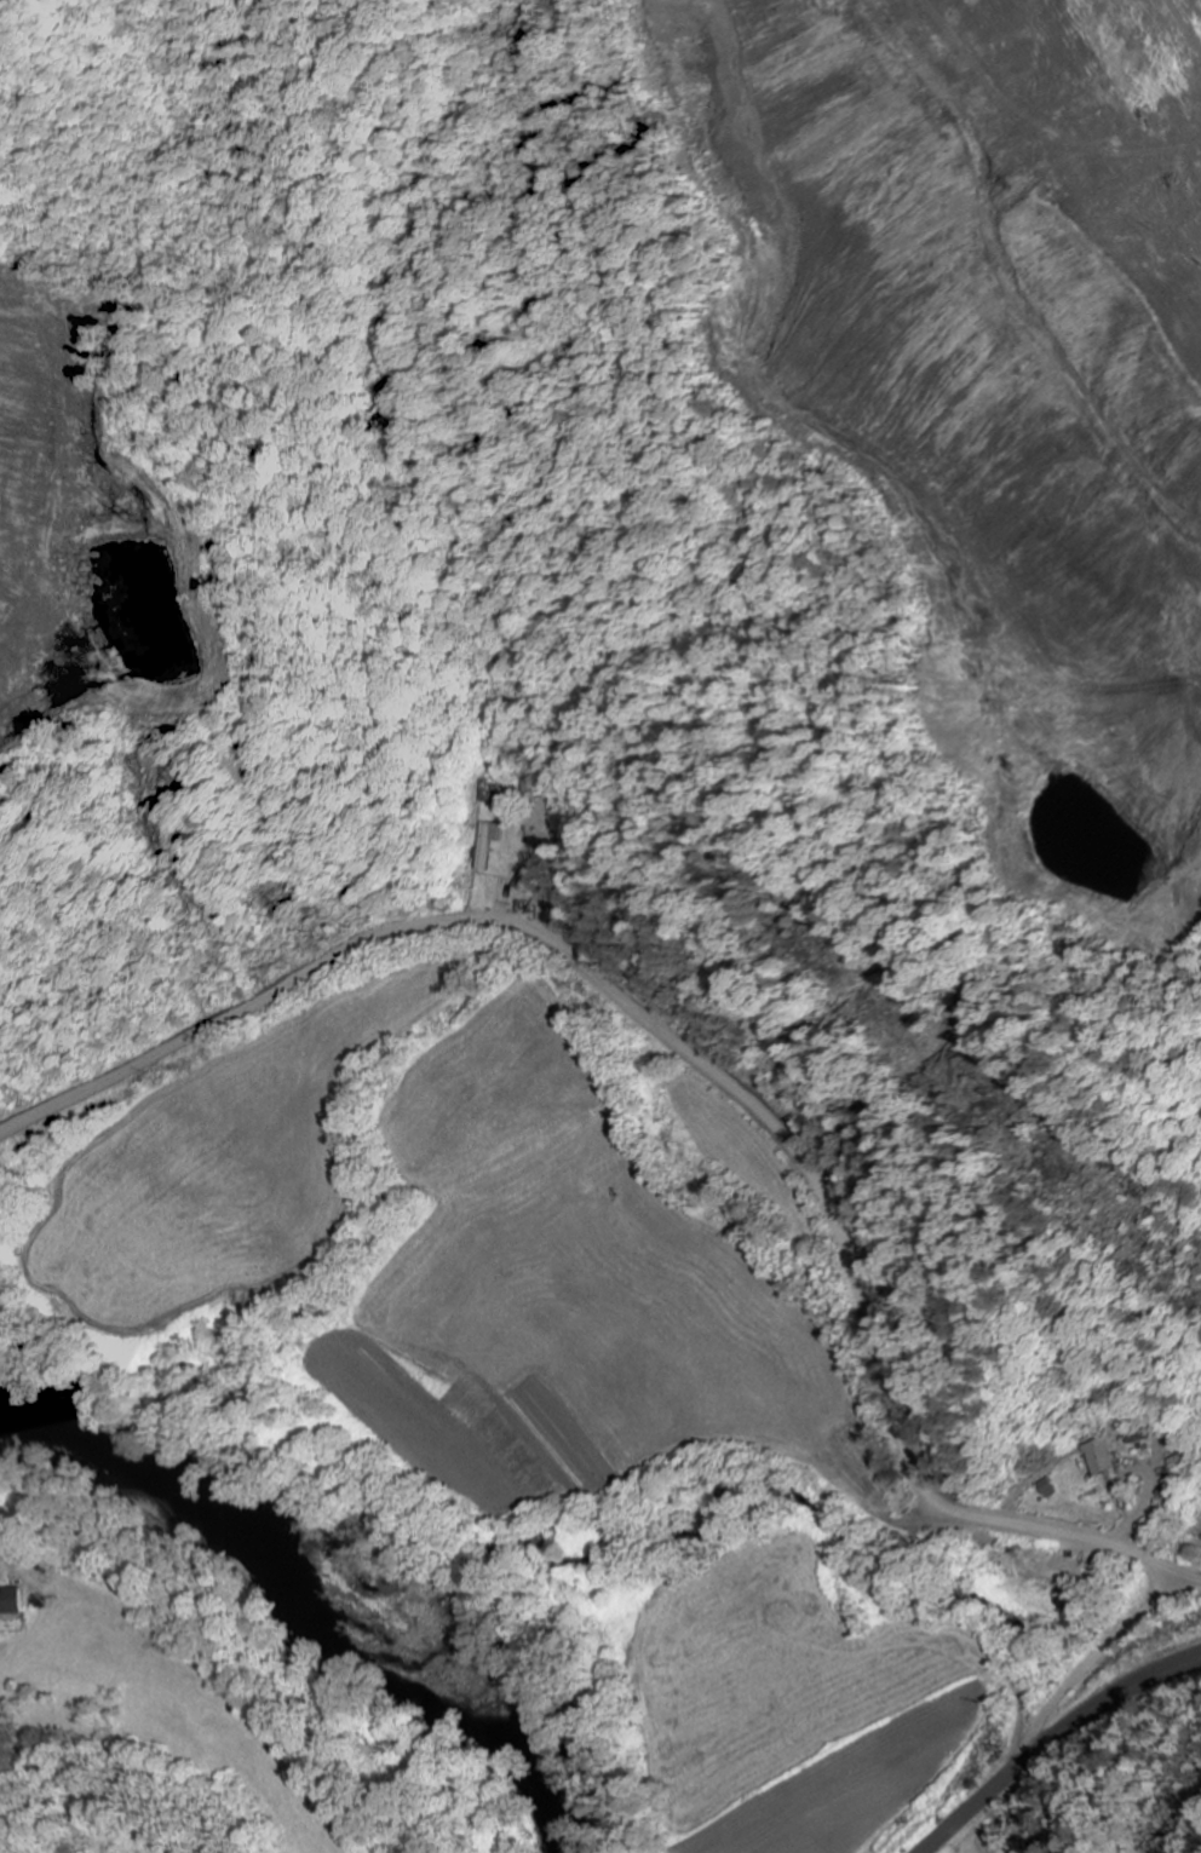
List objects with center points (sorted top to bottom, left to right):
building: (484, 844)
road: (667, 1040)
building: (1098, 1457)
building: (1177, 1464)
building: (1044, 1490)
building: (10, 1602)
river: (309, 1606)
road: (1126, 1624)
road: (1041, 1717)

